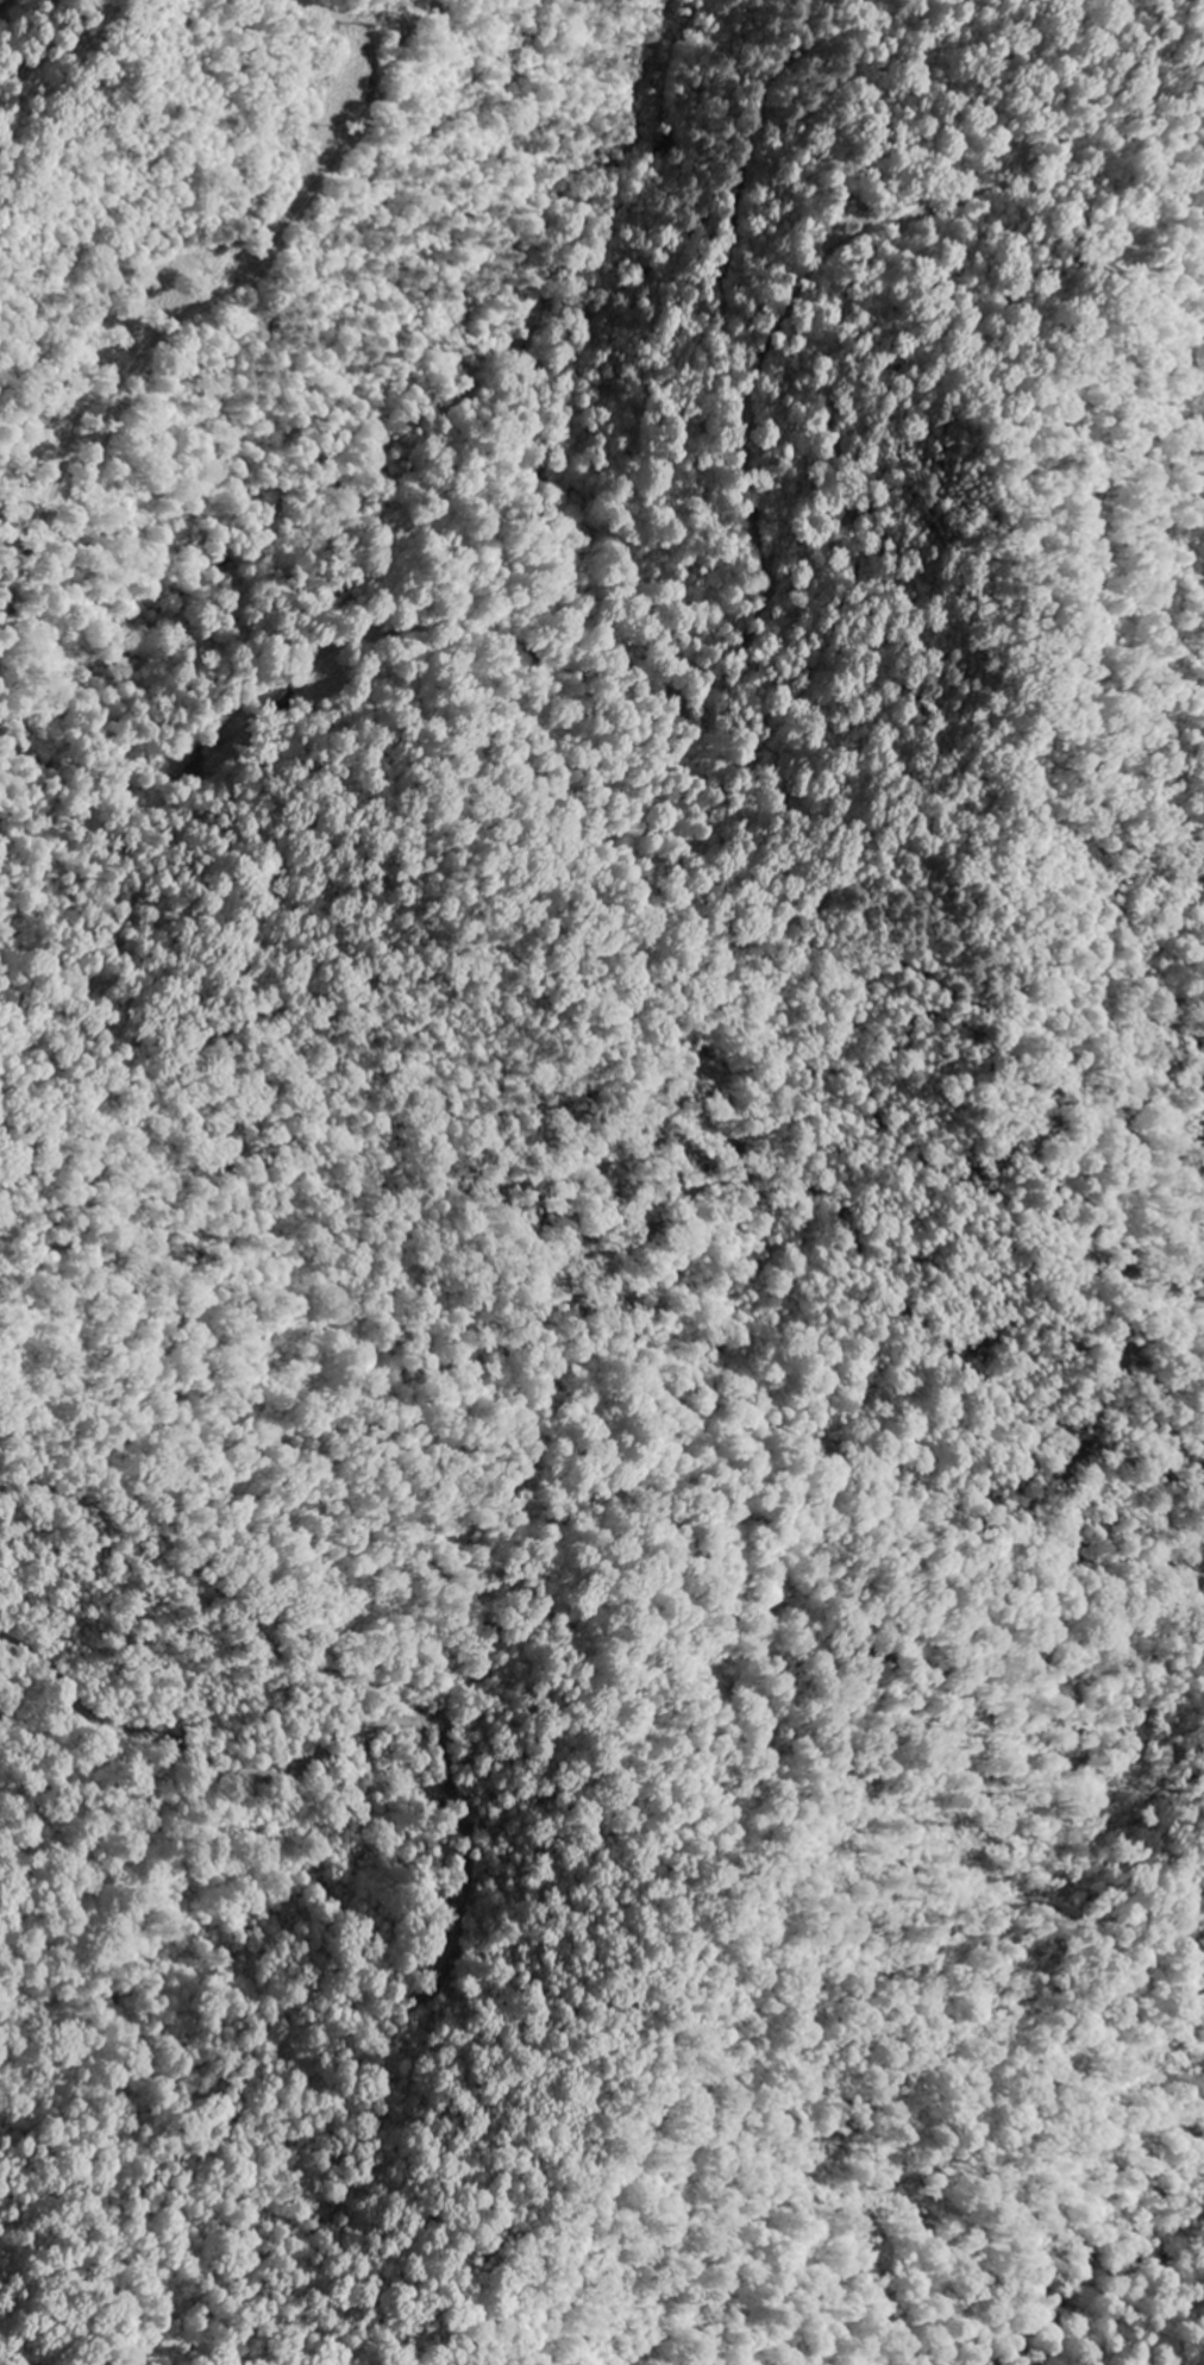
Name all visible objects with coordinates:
road: (929, 2046)

